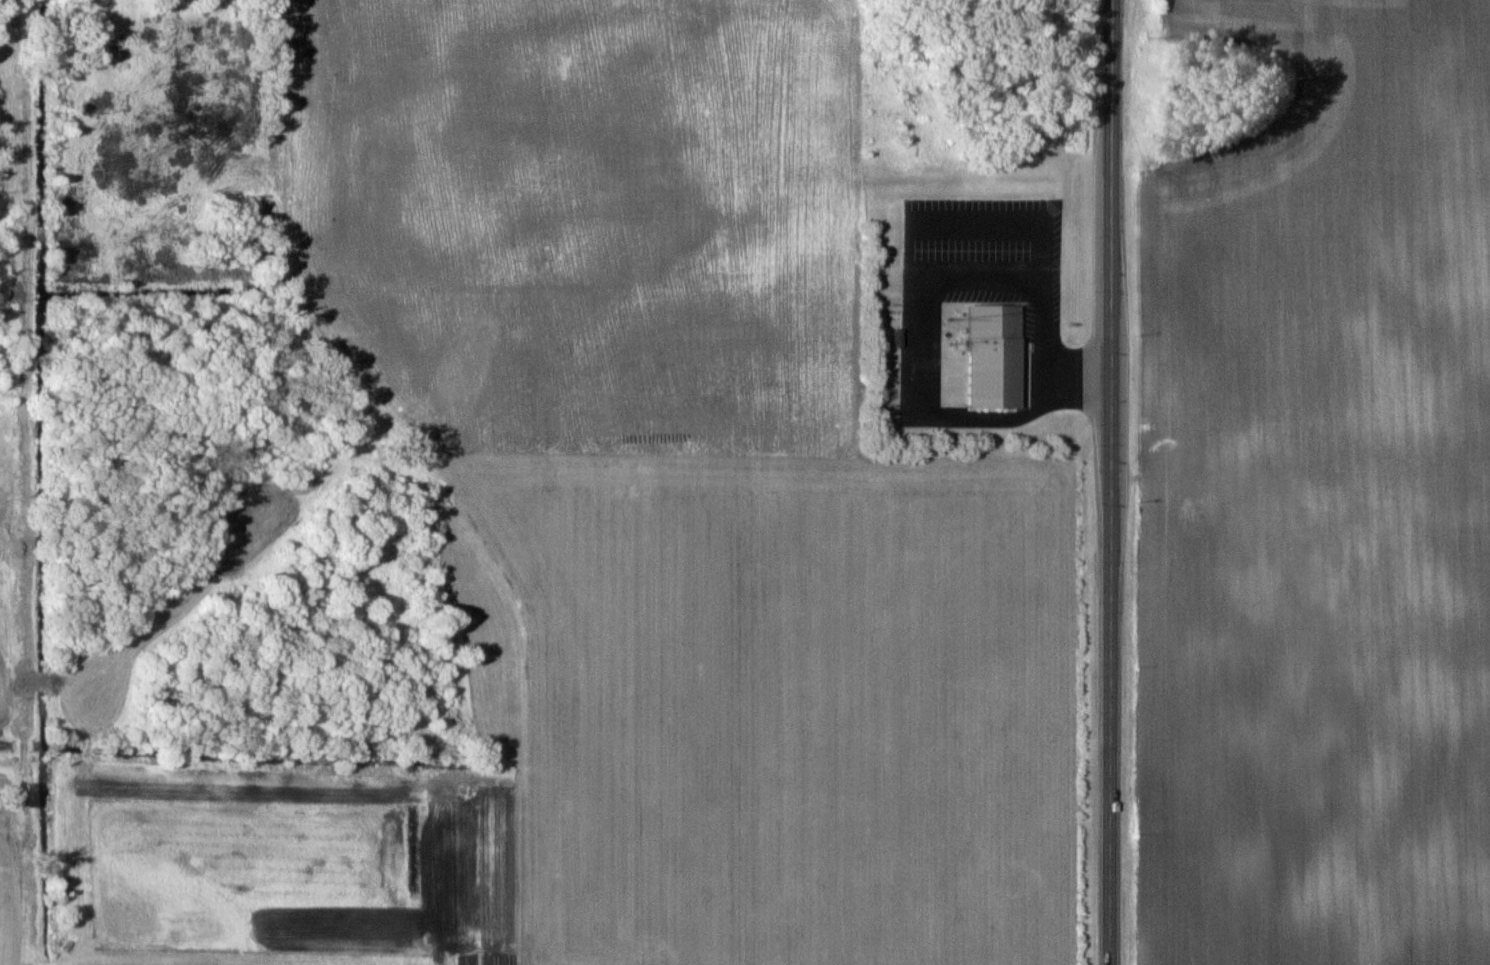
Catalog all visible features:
building: (994, 357)
road: (1102, 482)

